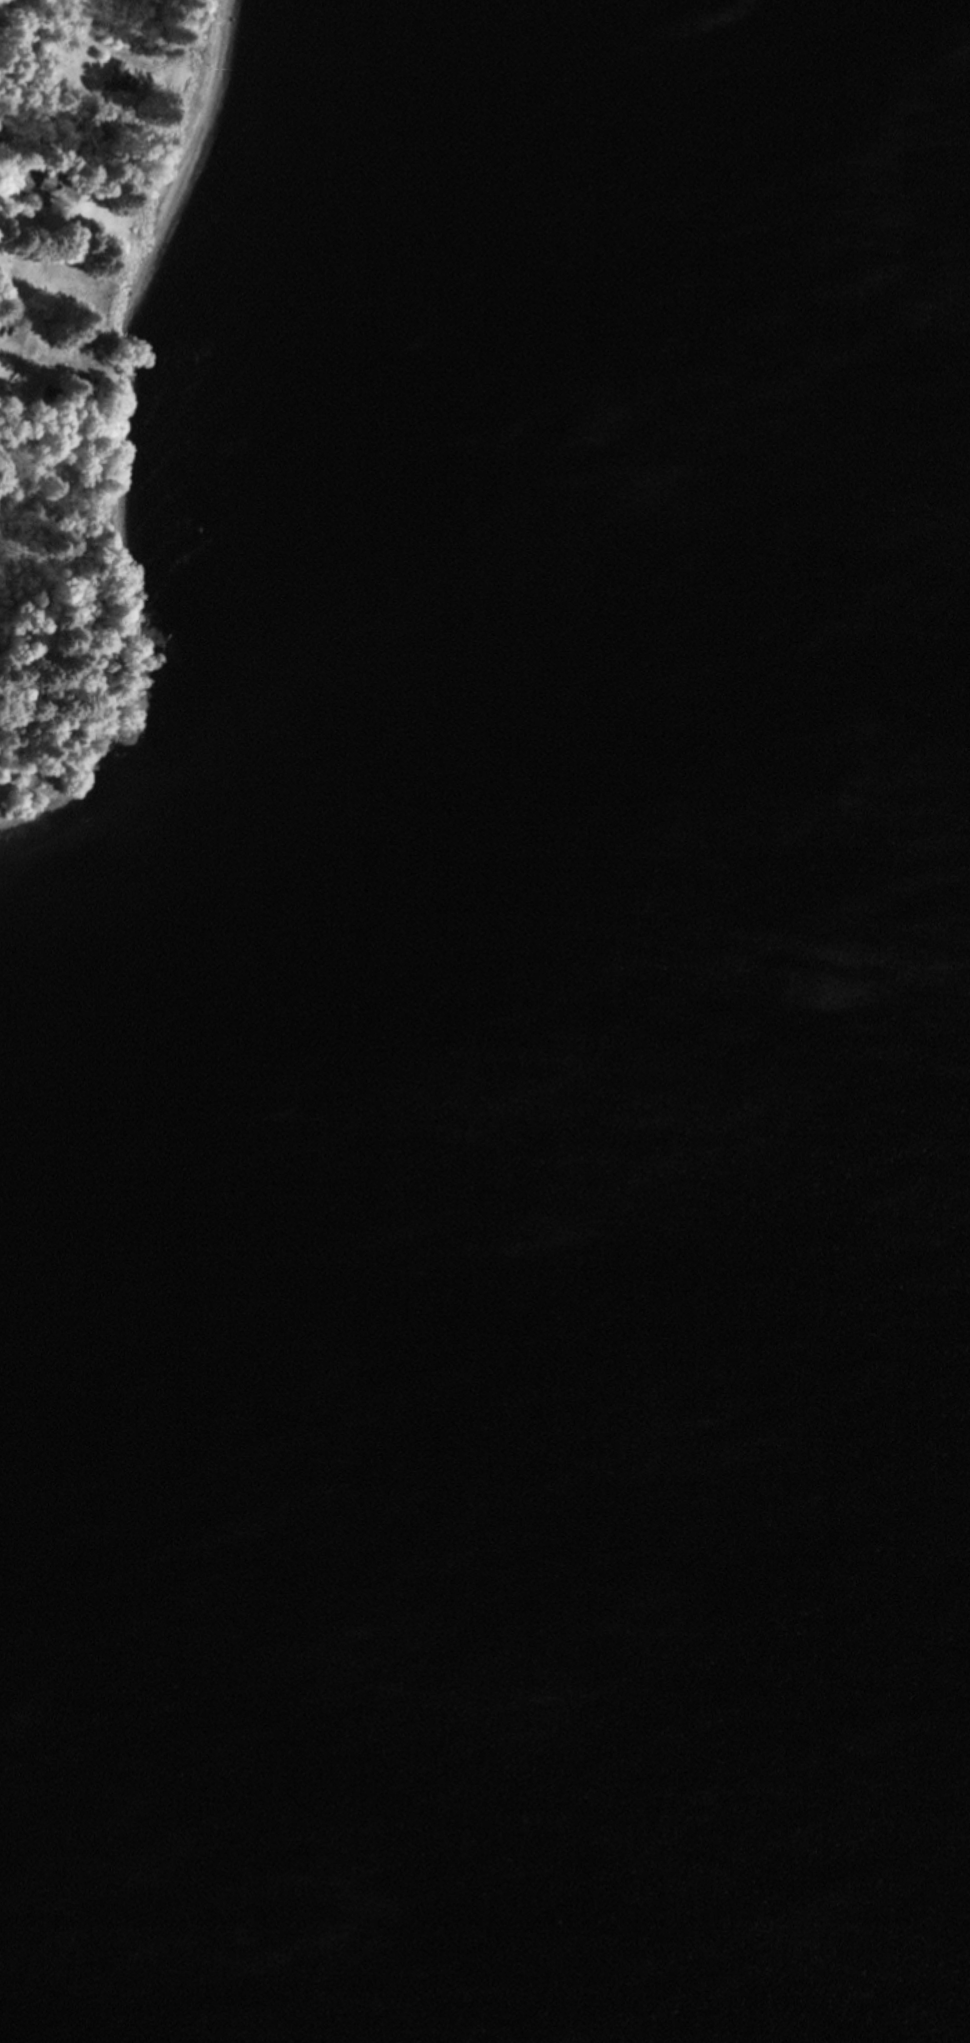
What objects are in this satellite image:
building: (120, 78)
building: (81, 387)

